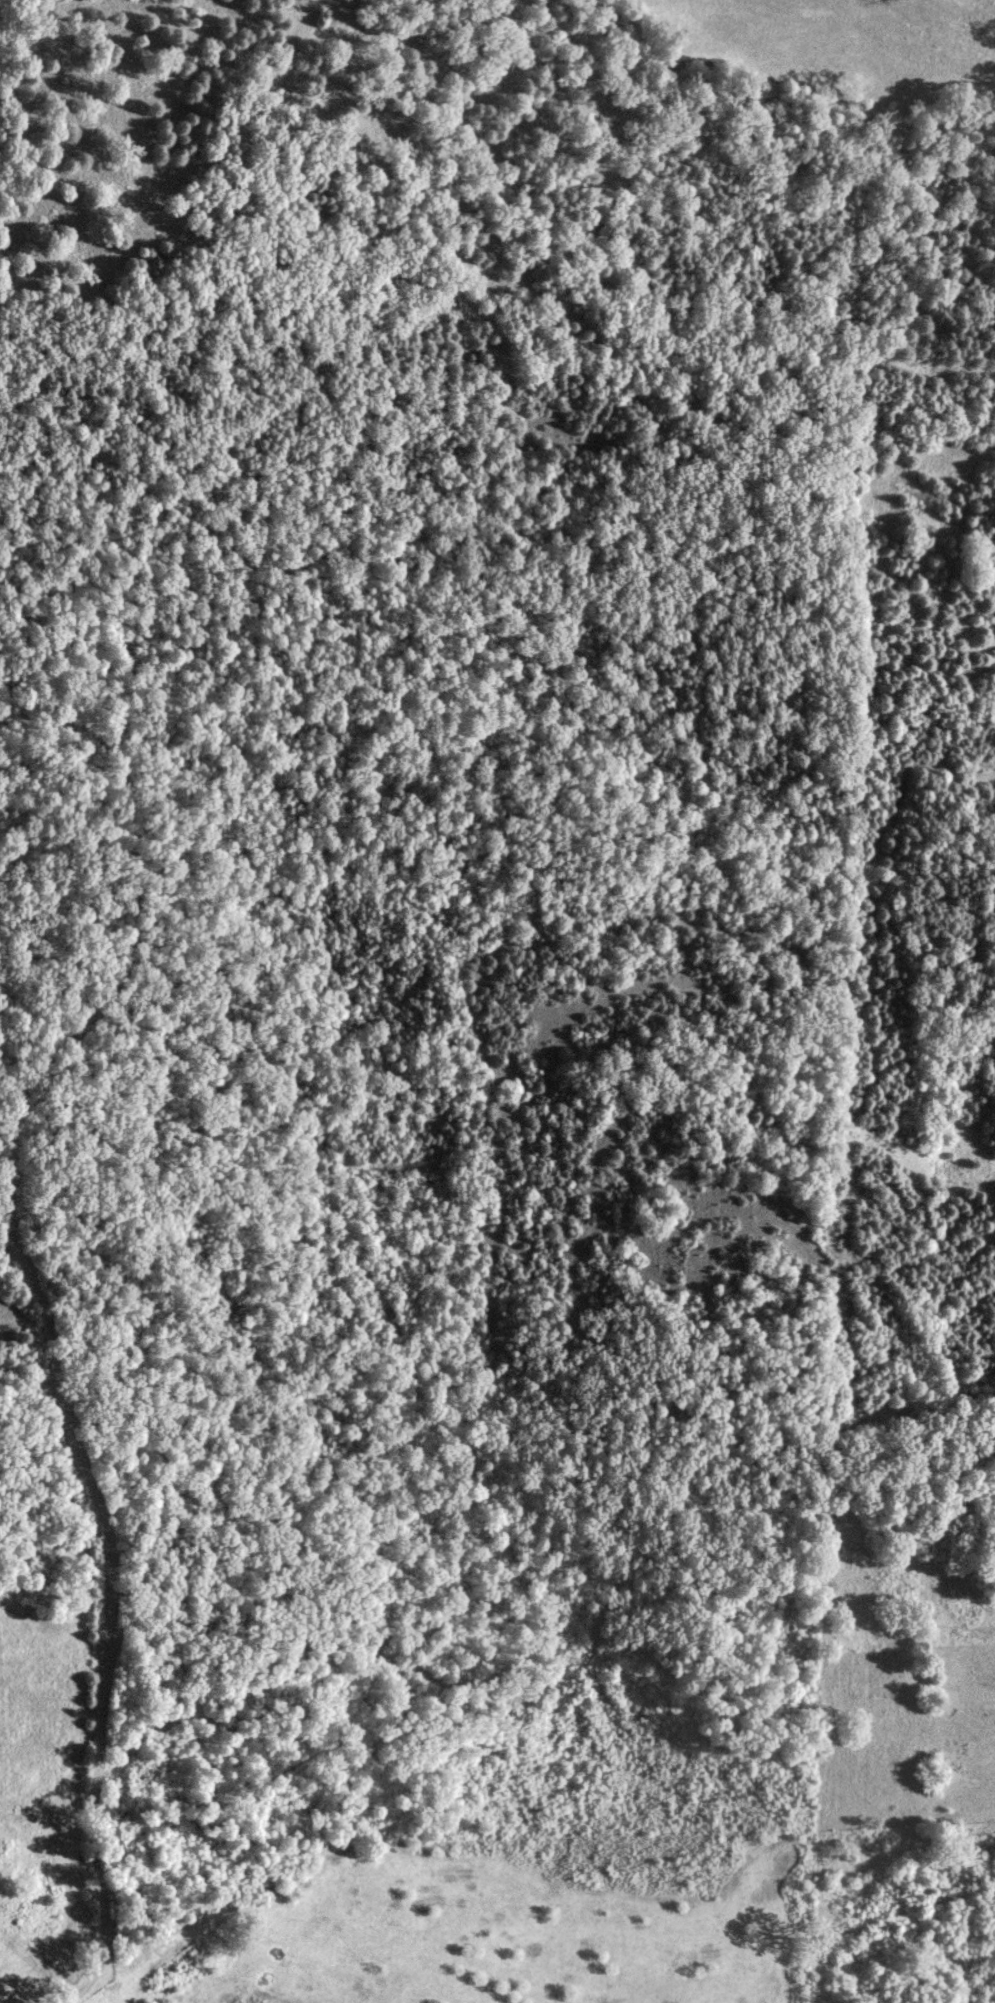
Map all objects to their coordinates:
road: (872, 1149)
road: (40, 1308)

